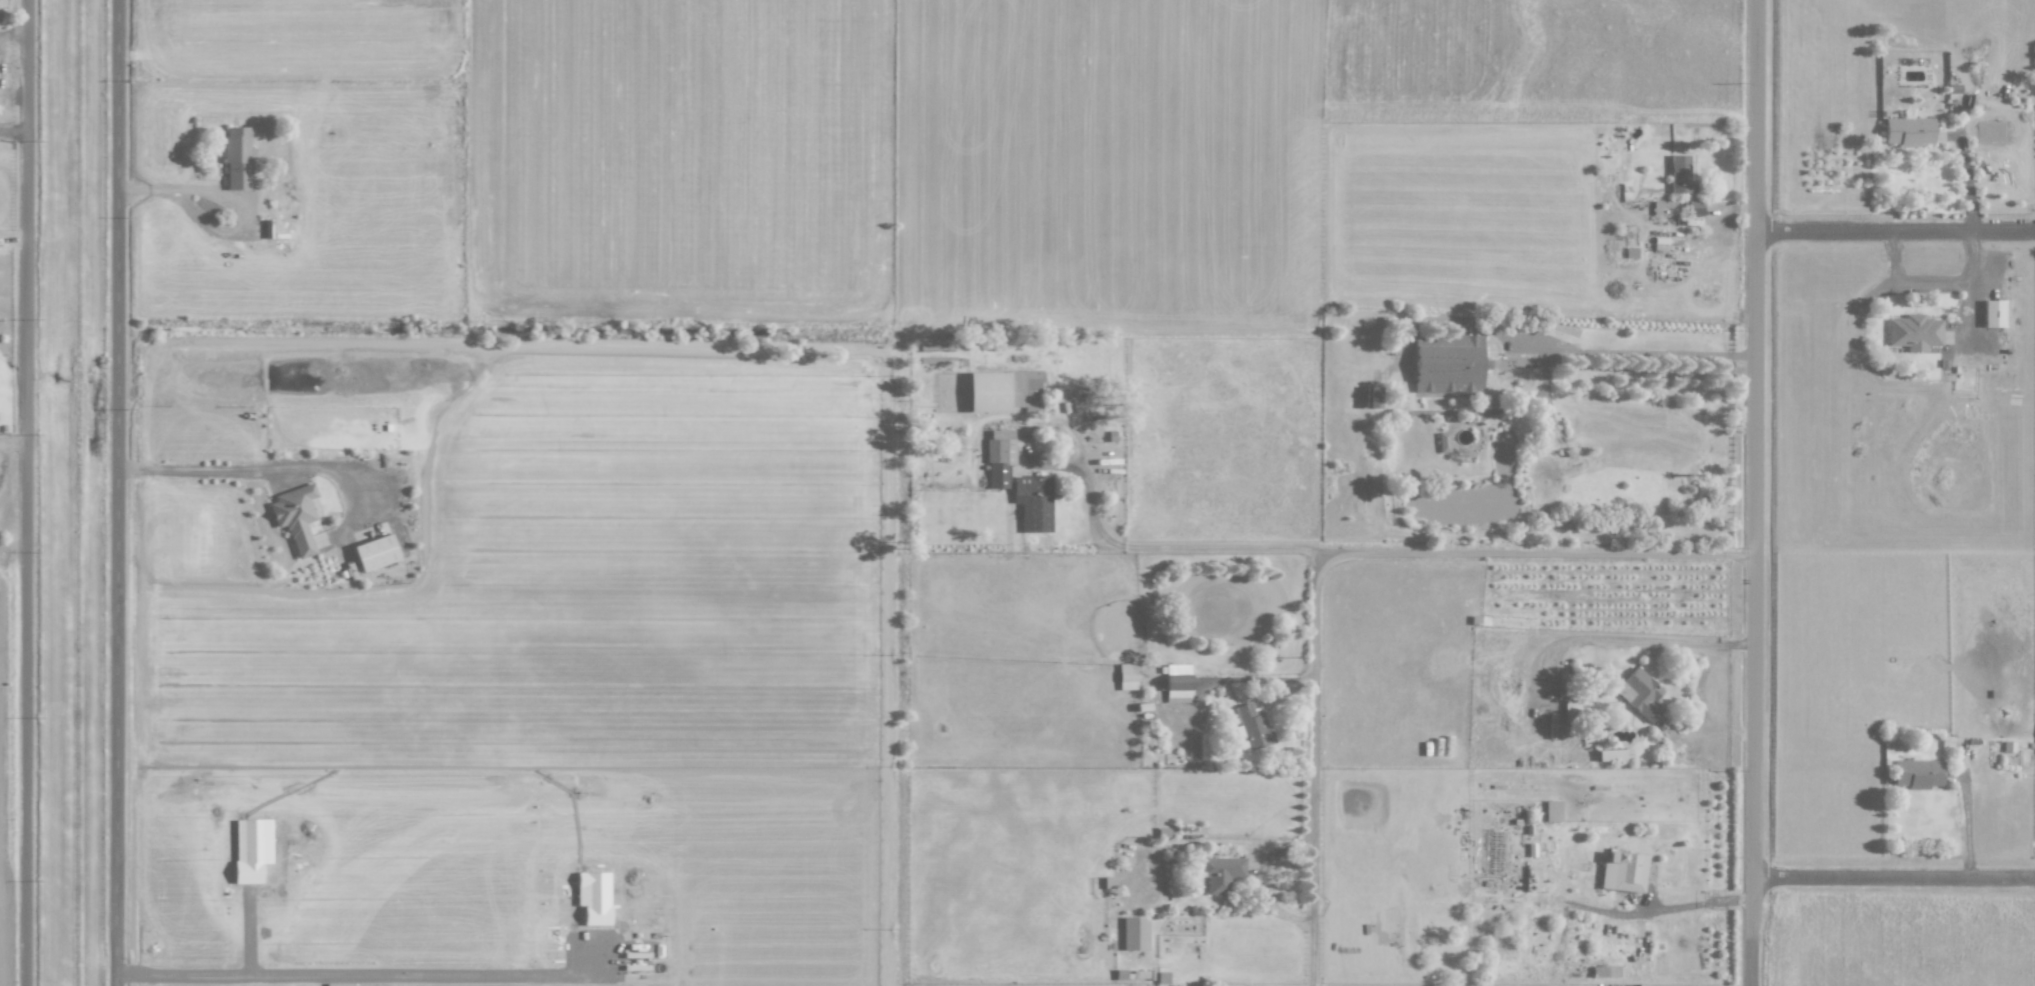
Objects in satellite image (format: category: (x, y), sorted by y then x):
building: (1908, 131)
building: (237, 158)
building: (1680, 175)
road: (1967, 175)
road: (236, 200)
building: (1660, 205)
building: (1694, 208)
road: (1734, 210)
road: (1896, 229)
road: (1934, 283)
road: (1969, 313)
building: (1992, 313)
building: (1913, 332)
road: (1561, 350)
building: (1448, 363)
building: (1004, 391)
road: (1548, 392)
building: (1371, 396)
road: (1081, 437)
road: (14, 441)
building: (1443, 441)
building: (999, 457)
road: (1056, 465)
road: (293, 467)
road: (1756, 492)
road: (28, 493)
road: (118, 493)
building: (1033, 502)
building: (295, 516)
road: (391, 521)
road: (1179, 546)
building: (375, 552)
road: (1328, 559)
road: (1606, 639)
building: (1126, 676)
road: (1259, 678)
building: (1177, 682)
building: (1639, 693)
road: (1705, 707)
building: (1253, 727)
building: (1614, 754)
building: (1917, 773)
building: (1552, 810)
road: (1969, 822)
road: (1236, 844)
building: (1493, 852)
building: (1623, 871)
building: (1220, 872)
road: (1894, 874)
road: (1271, 895)
road: (1654, 912)
road: (1645, 929)
building: (1135, 933)
building: (1604, 971)

